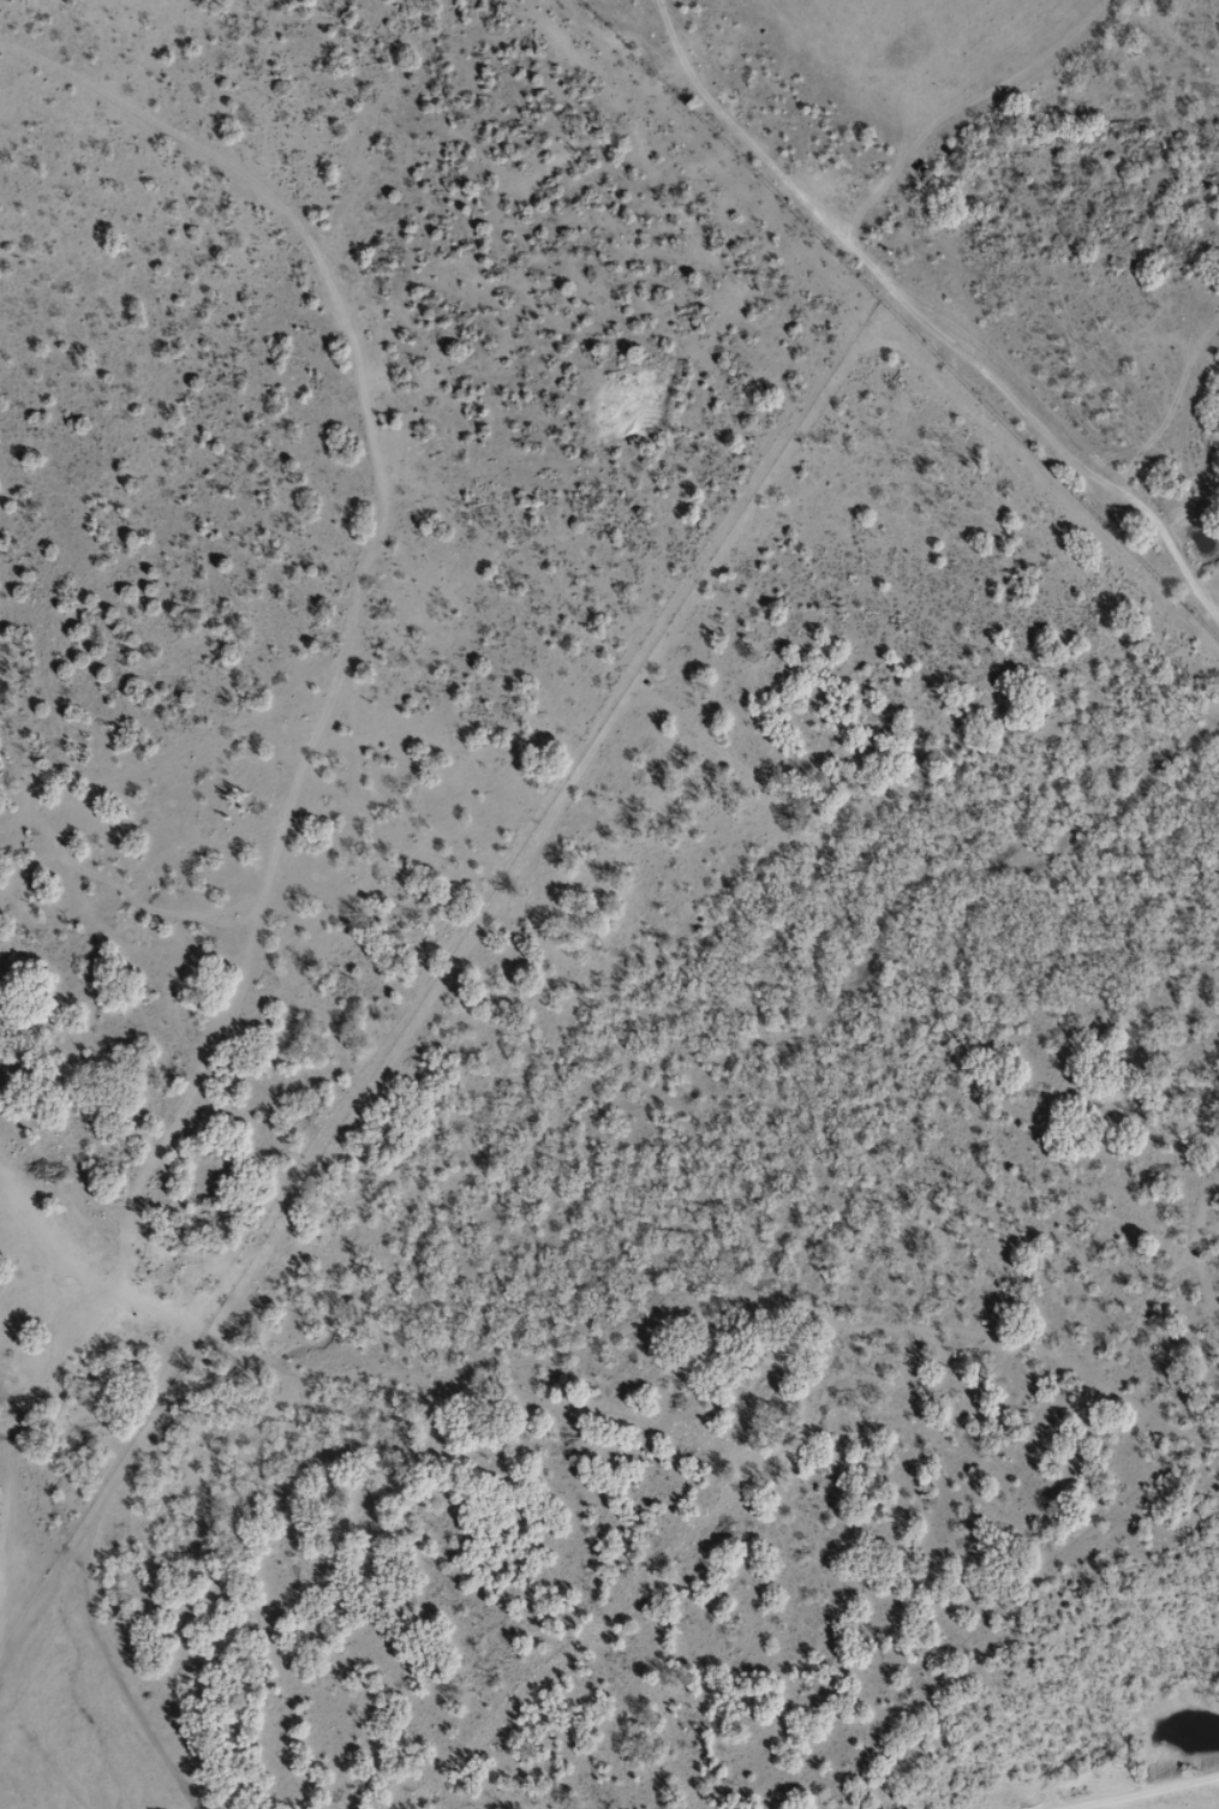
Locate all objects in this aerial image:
crop: (910, 46)
road: (949, 402)
crop: (1215, 595)

